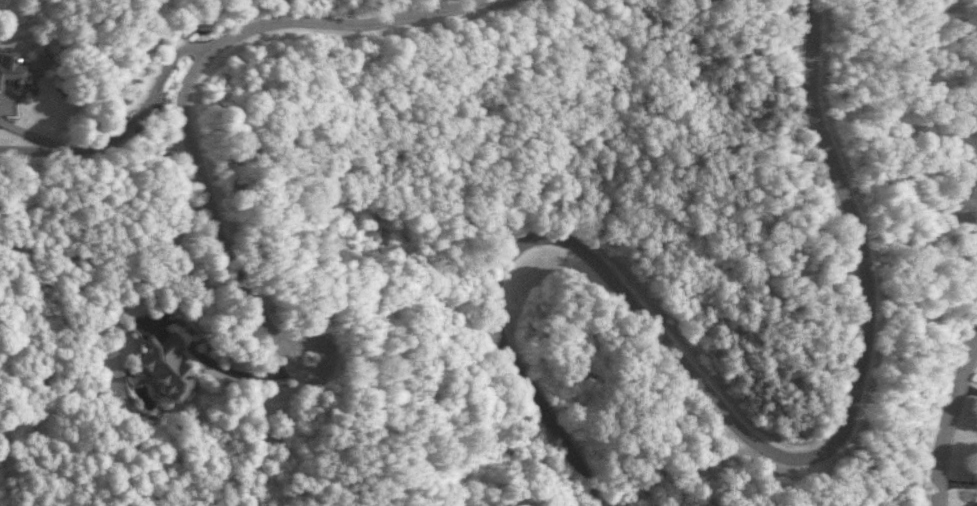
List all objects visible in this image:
building: (19, 70)
road: (196, 71)
road: (124, 127)
building: (169, 366)
road: (250, 376)
road: (951, 418)
road: (731, 421)

